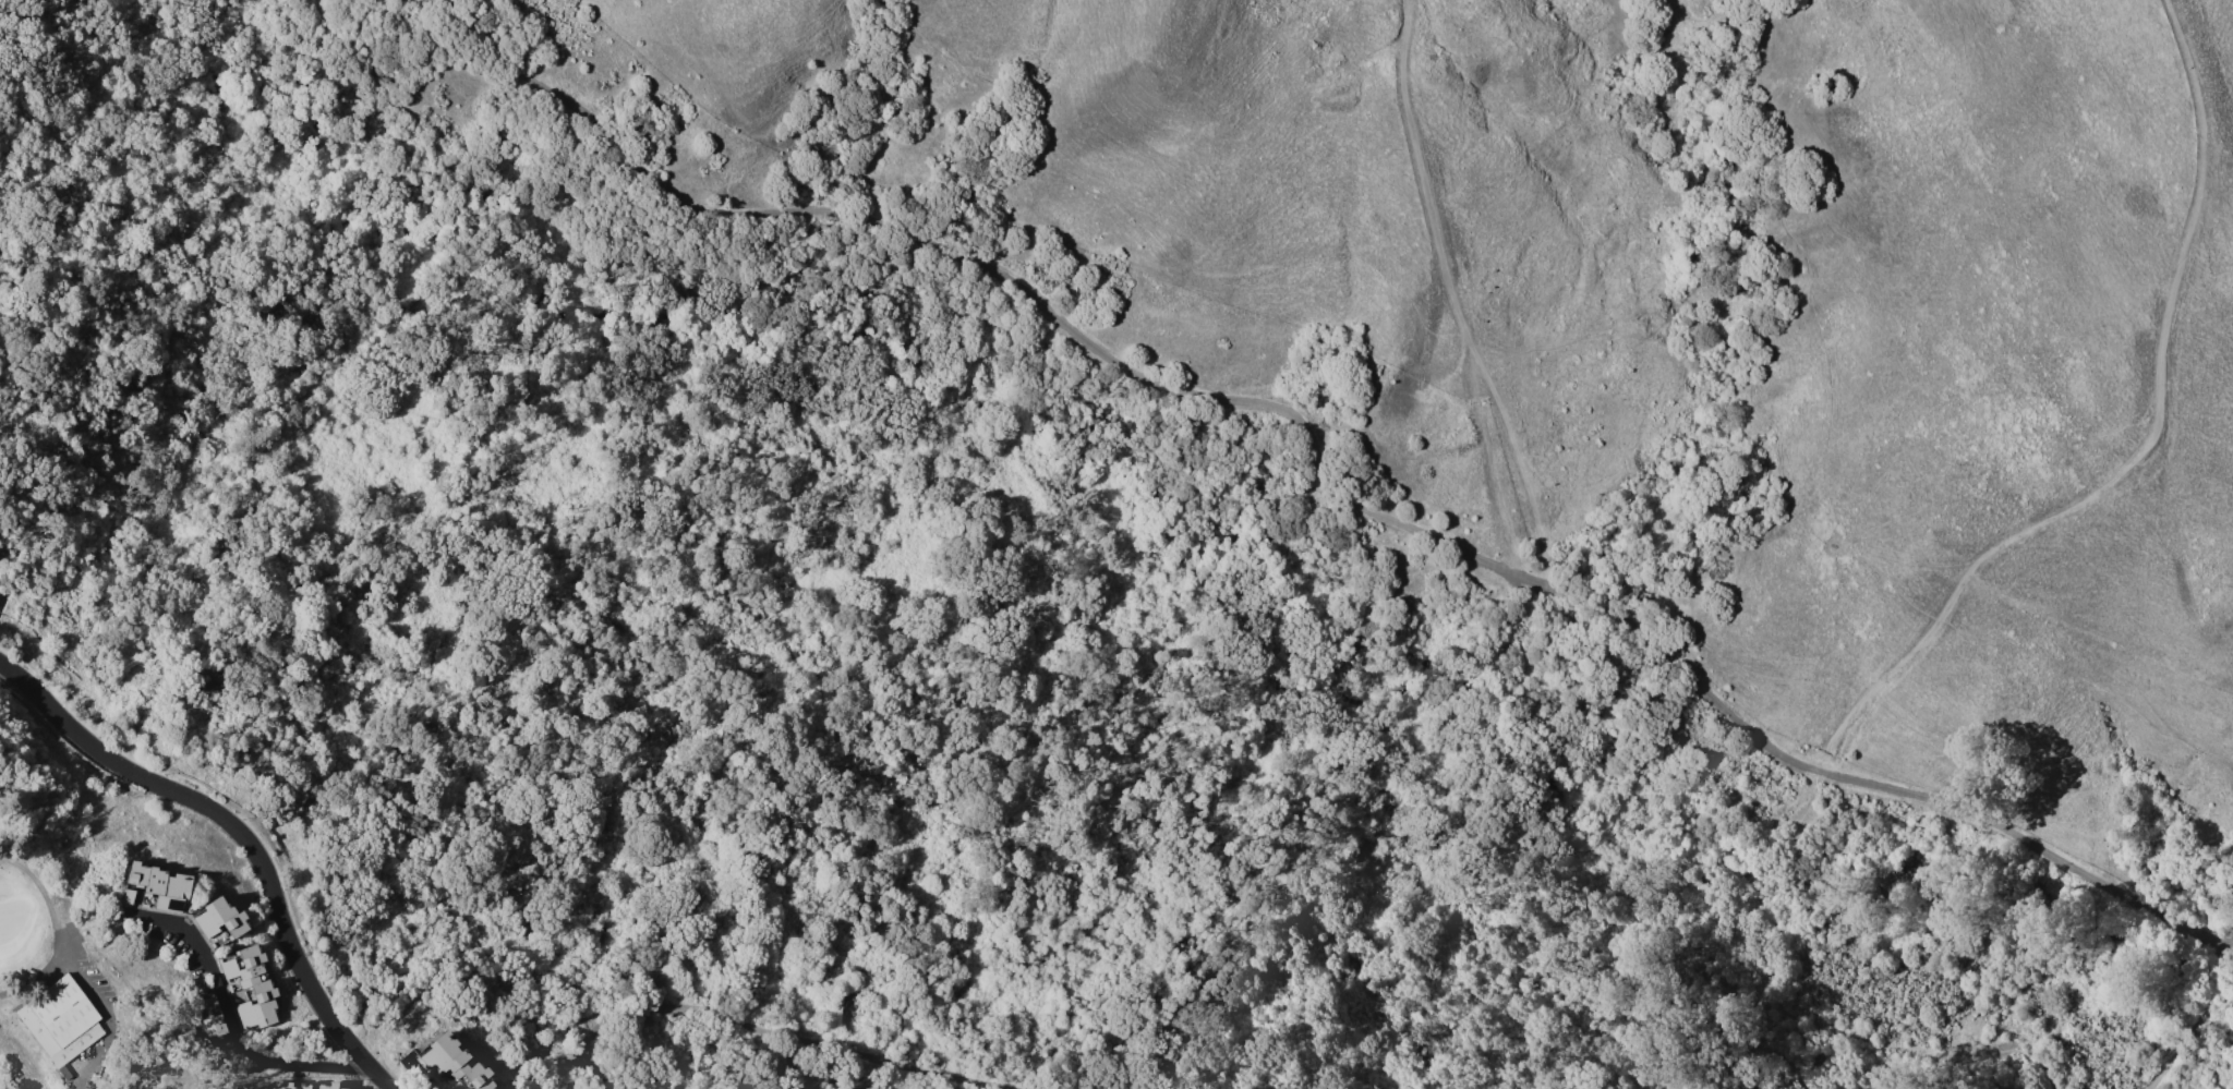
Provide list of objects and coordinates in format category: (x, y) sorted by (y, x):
road: (1001, 274)
road: (1453, 299)
road: (2145, 452)
road: (1492, 463)
road: (1875, 785)
road: (241, 833)
road: (1641, 869)
building: (155, 888)
building: (220, 919)
building: (213, 944)
road: (2213, 958)
building: (242, 966)
road: (2207, 987)
park: (75, 1002)
building: (257, 1005)
building: (208, 1019)
building: (60, 1023)
road: (228, 1024)
road: (768, 1031)
road: (2173, 1045)
building: (439, 1056)
building: (475, 1076)
building: (94, 1077)
road: (424, 1077)
building: (444, 1084)
building: (287, 1085)
building: (324, 1086)
building: (88, 1088)

